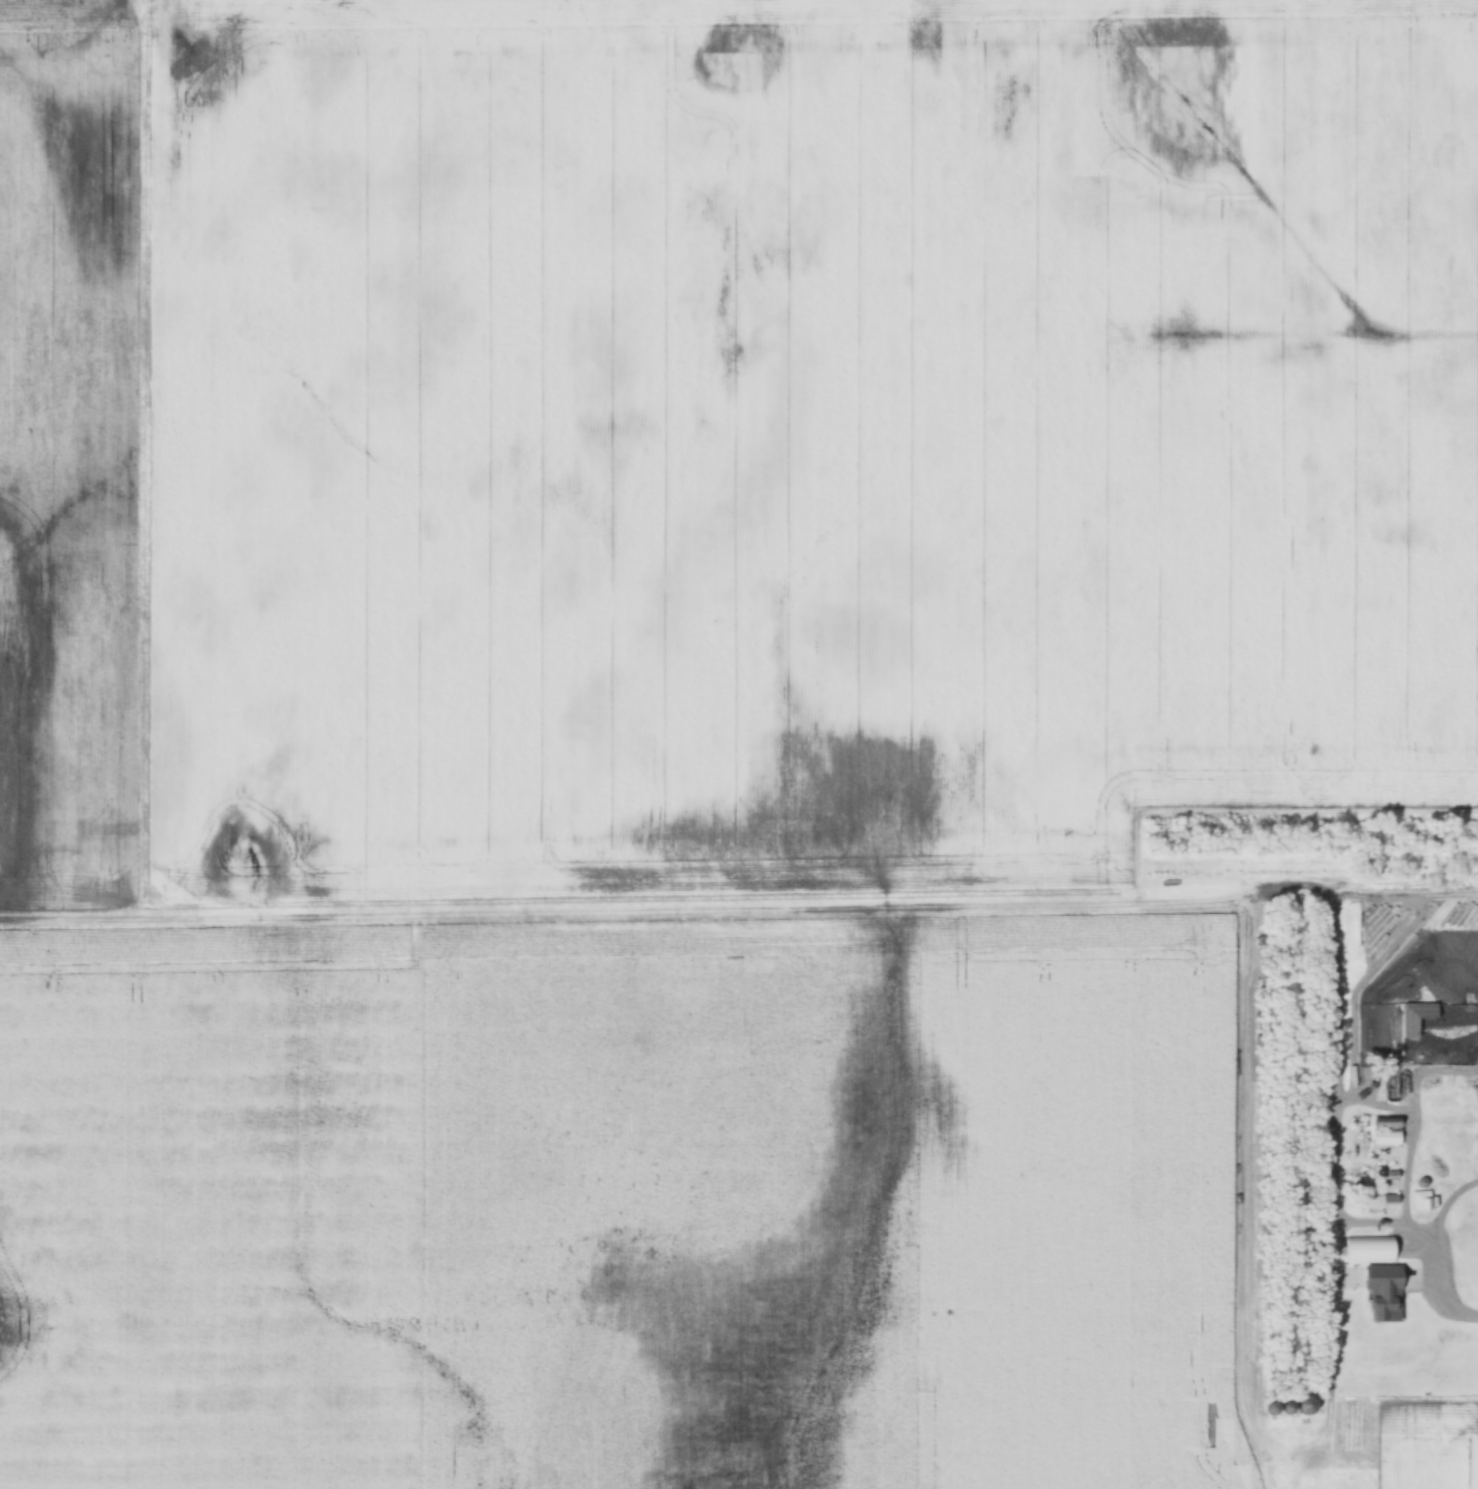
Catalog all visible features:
building: (1406, 1019)
building: (1385, 1129)
road: (1407, 1133)
building: (1420, 1200)
road: (1441, 1207)
building: (1368, 1248)
building: (1382, 1292)
road: (1434, 1297)
building: (1305, 1404)

